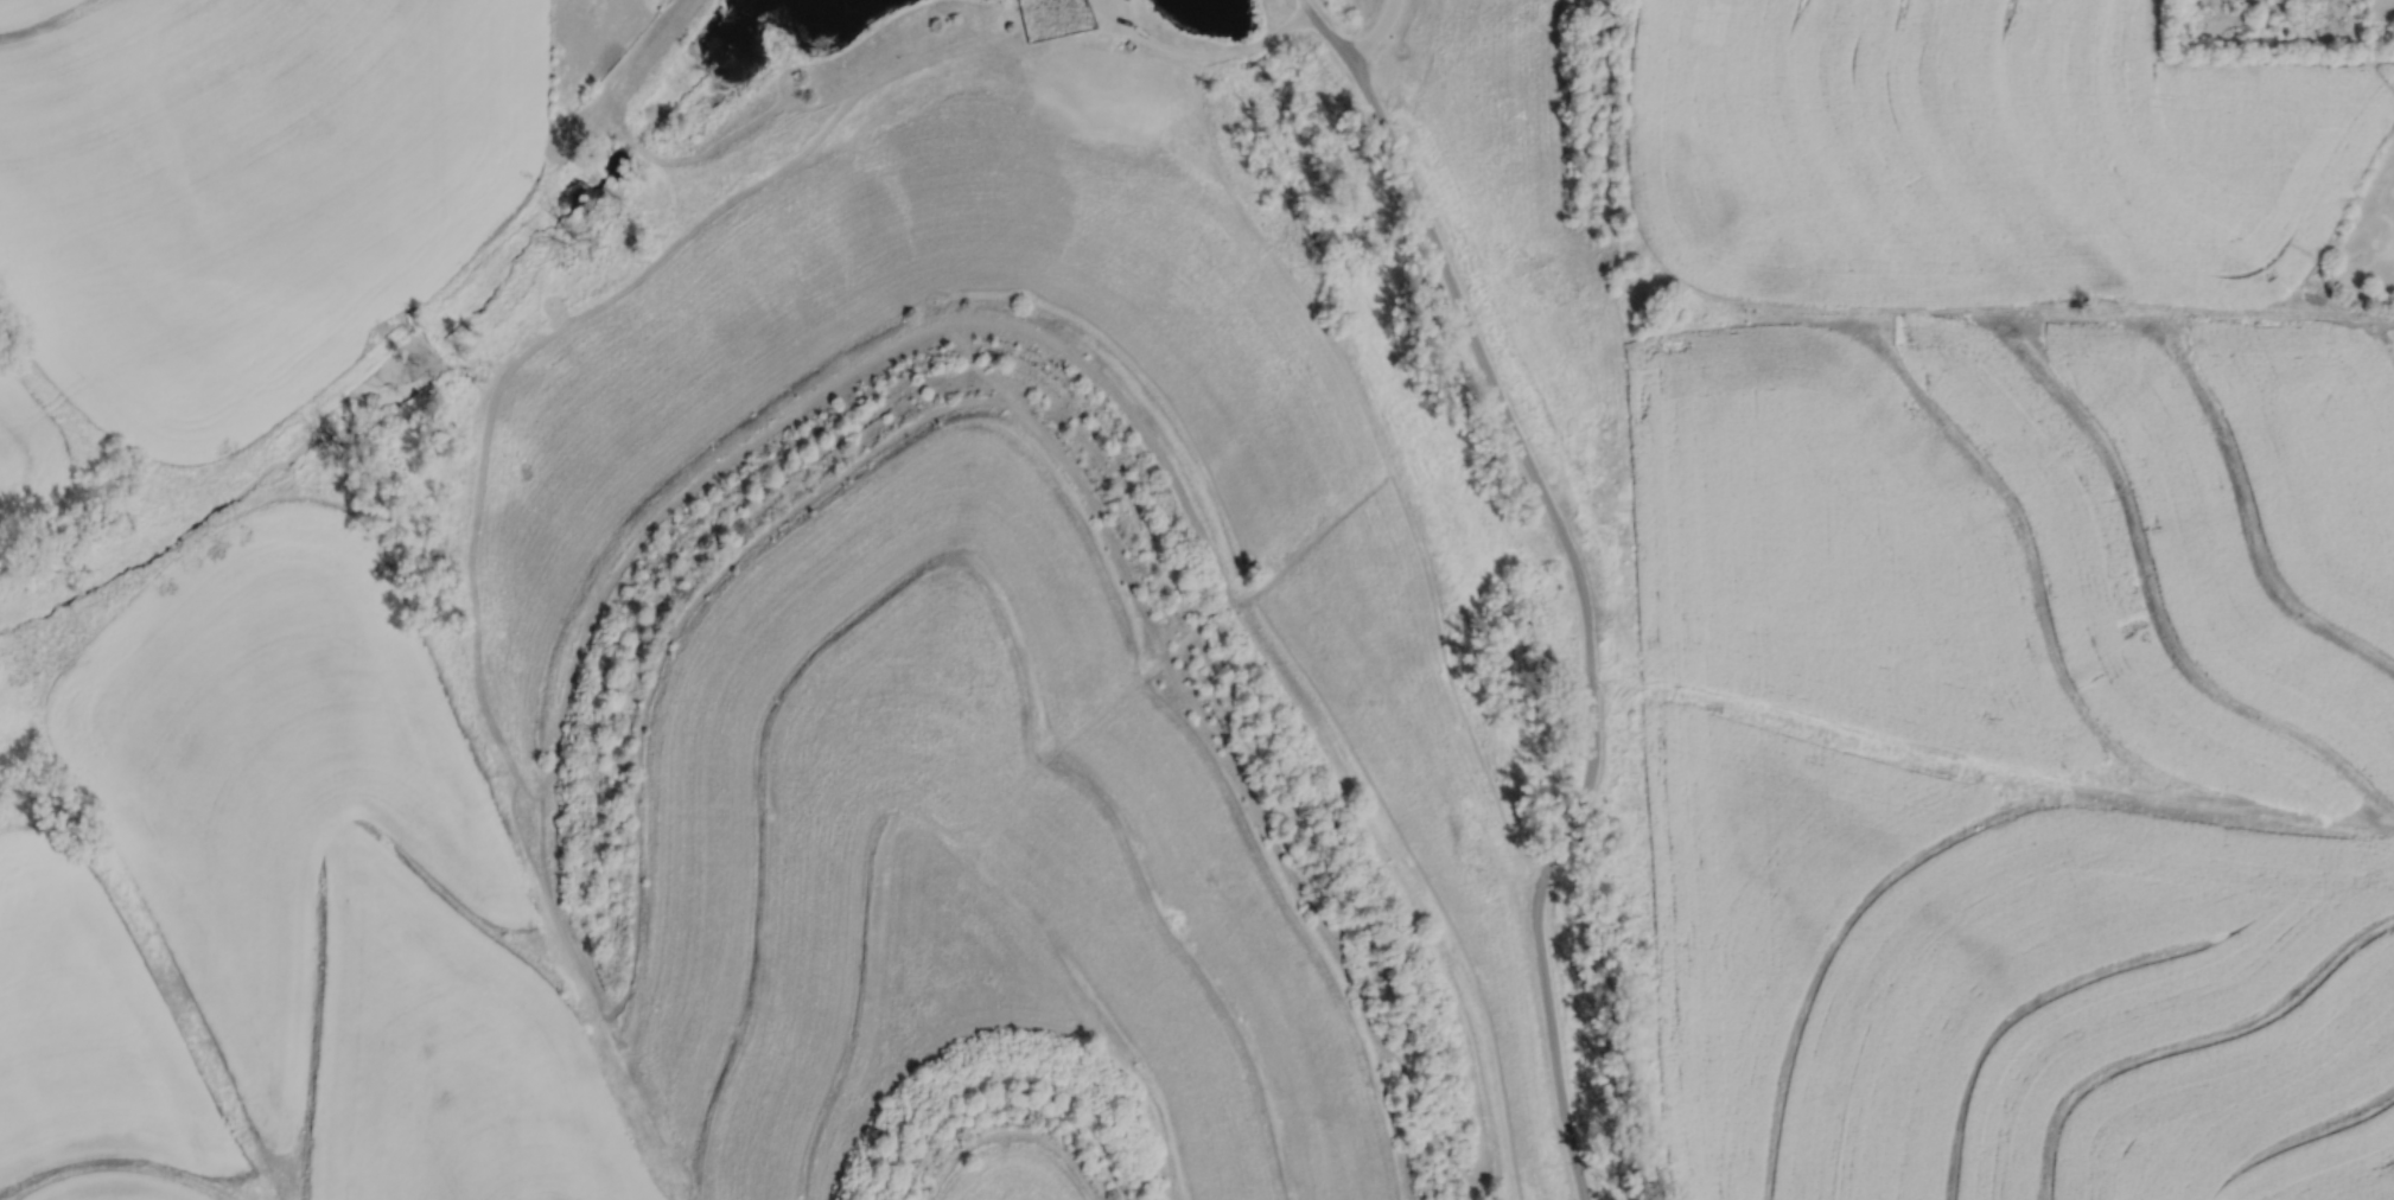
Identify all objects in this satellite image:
road: (1307, 7)
road: (1376, 34)
road: (1330, 38)
road: (1204, 57)
road: (1585, 613)

